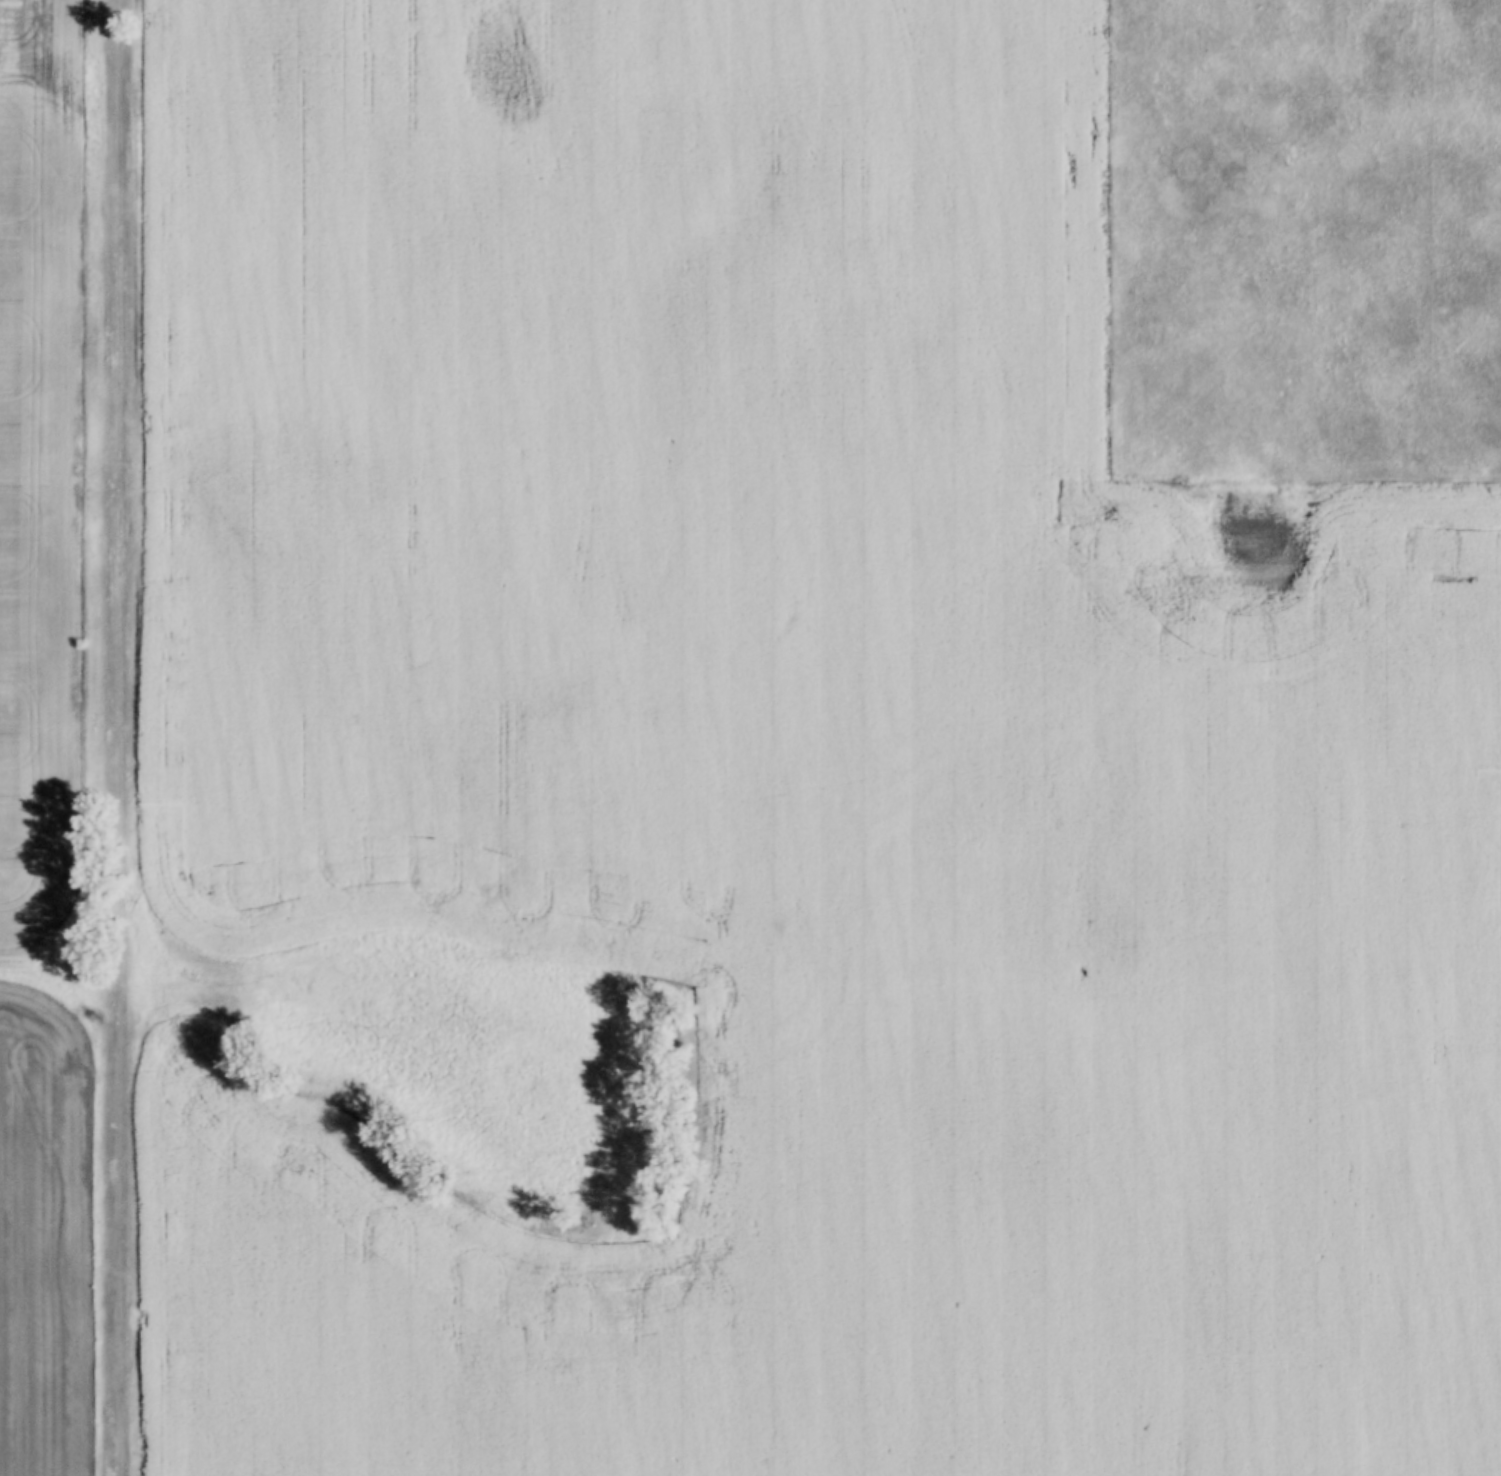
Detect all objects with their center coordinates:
road: (120, 737)

